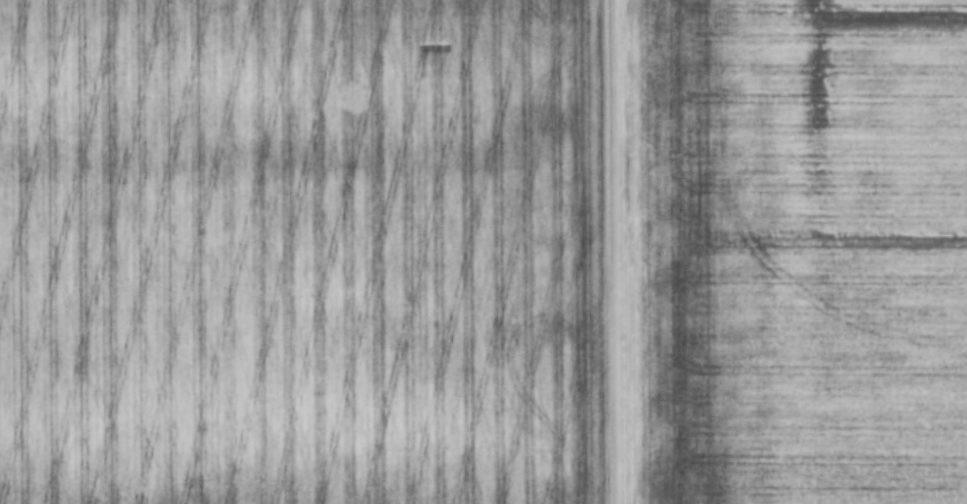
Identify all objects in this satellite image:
crop: (795, 251)
crop: (304, 252)

